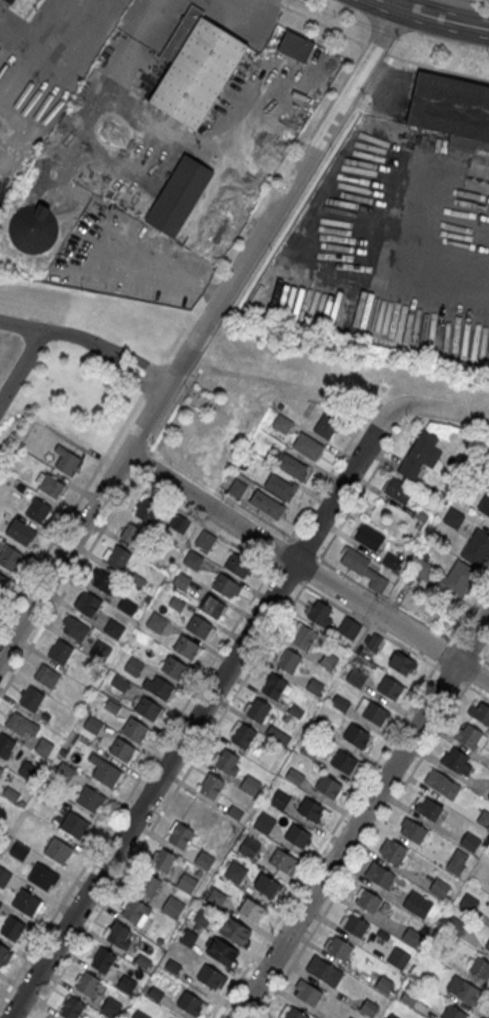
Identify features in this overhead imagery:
road: (481, 1)
building: (24, 5)
road: (238, 16)
road: (434, 17)
road: (150, 20)
road: (319, 22)
building: (296, 46)
road: (376, 48)
road: (124, 60)
road: (438, 66)
building: (196, 68)
building: (450, 106)
building: (179, 196)
building: (33, 229)
storage tank: (33, 229)
parking lot: (127, 258)
road: (51, 331)
road: (200, 333)
road: (173, 345)
road: (138, 358)
road: (20, 364)
road: (128, 372)
road: (152, 378)
park: (199, 395)
road: (337, 404)
road: (443, 410)
building: (282, 423)
building: (327, 424)
road: (460, 426)
building: (308, 445)
building: (420, 454)
building: (66, 460)
building: (293, 466)
road: (120, 473)
road: (326, 475)
building: (49, 484)
building: (279, 486)
building: (237, 487)
building: (398, 489)
road: (360, 491)
building: (485, 503)
building: (266, 504)
road: (226, 505)
road: (71, 509)
building: (147, 510)
building: (38, 511)
road: (262, 518)
building: (454, 519)
road: (199, 523)
building: (178, 524)
road: (99, 530)
building: (22, 532)
building: (132, 533)
building: (369, 536)
building: (206, 542)
road: (304, 547)
building: (477, 547)
road: (278, 551)
building: (118, 557)
building: (11, 558)
building: (354, 560)
building: (194, 561)
building: (392, 562)
building: (238, 564)
road: (306, 570)
building: (423, 570)
road: (311, 571)
road: (287, 575)
building: (459, 580)
building: (104, 581)
building: (3, 582)
building: (181, 582)
building: (226, 585)
road: (383, 598)
building: (89, 604)
building: (127, 605)
building: (213, 606)
road: (467, 610)
building: (319, 613)
building: (158, 623)
road: (369, 624)
building: (200, 626)
building: (74, 627)
building: (349, 628)
building: (113, 629)
building: (304, 638)
building: (371, 640)
building: (187, 647)
road: (464, 649)
building: (99, 650)
building: (60, 651)
road: (441, 653)
road: (484, 654)
road: (482, 659)
building: (329, 661)
building: (289, 662)
building: (402, 662)
building: (135, 667)
building: (174, 667)
road: (473, 671)
building: (47, 675)
road: (449, 675)
building: (123, 684)
building: (161, 687)
building: (274, 687)
building: (391, 688)
road: (474, 689)
building: (32, 698)
building: (340, 702)
building: (149, 708)
road: (202, 710)
building: (258, 711)
building: (372, 711)
building: (482, 712)
building: (18, 723)
building: (94, 726)
building: (136, 729)
building: (278, 735)
building: (356, 735)
building: (244, 737)
building: (471, 738)
building: (5, 745)
building: (43, 748)
building: (123, 749)
building: (310, 750)
building: (227, 762)
building: (457, 762)
building: (345, 763)
building: (1, 769)
building: (28, 771)
building: (66, 772)
building: (106, 772)
building: (295, 777)
road: (136, 781)
building: (442, 783)
building: (251, 785)
building: (328, 785)
building: (212, 787)
building: (488, 796)
building: (90, 798)
road: (168, 798)
building: (280, 800)
building: (430, 808)
building: (312, 811)
road: (362, 815)
building: (484, 818)
building: (74, 824)
building: (264, 825)
building: (413, 829)
building: (180, 835)
building: (297, 835)
road: (325, 839)
building: (470, 841)
building: (250, 847)
road: (362, 849)
building: (58, 850)
building: (391, 850)
building: (20, 853)
building: (282, 859)
building: (163, 861)
building: (204, 861)
building: (457, 861)
building: (236, 875)
building: (381, 875)
building: (43, 876)
building: (4, 877)
building: (187, 884)
building: (150, 885)
building: (267, 885)
building: (439, 887)
building: (217, 898)
building: (369, 900)
building: (27, 902)
building: (469, 902)
building: (418, 903)
building: (1, 905)
building: (173, 908)
building: (251, 908)
building: (134, 911)
building: (203, 918)
building: (356, 925)
building: (13, 928)
building: (235, 930)
building: (118, 936)
building: (412, 936)
building: (188, 938)
building: (487, 944)
building: (339, 947)
building: (222, 950)
building: (3, 952)
building: (398, 957)
building: (103, 962)
building: (480, 967)
building: (325, 970)
building: (210, 975)
building: (383, 983)
building: (126, 984)
building: (88, 986)
building: (464, 989)
building: (309, 993)
building: (191, 1003)
building: (110, 1007)
building: (369, 1007)
building: (72, 1009)
building: (453, 1012)
building: (295, 1013)
building: (140, 1015)
road: (487, 1016)
building: (52, 1017)
building: (166, 1017)
building: (350, 1017)

